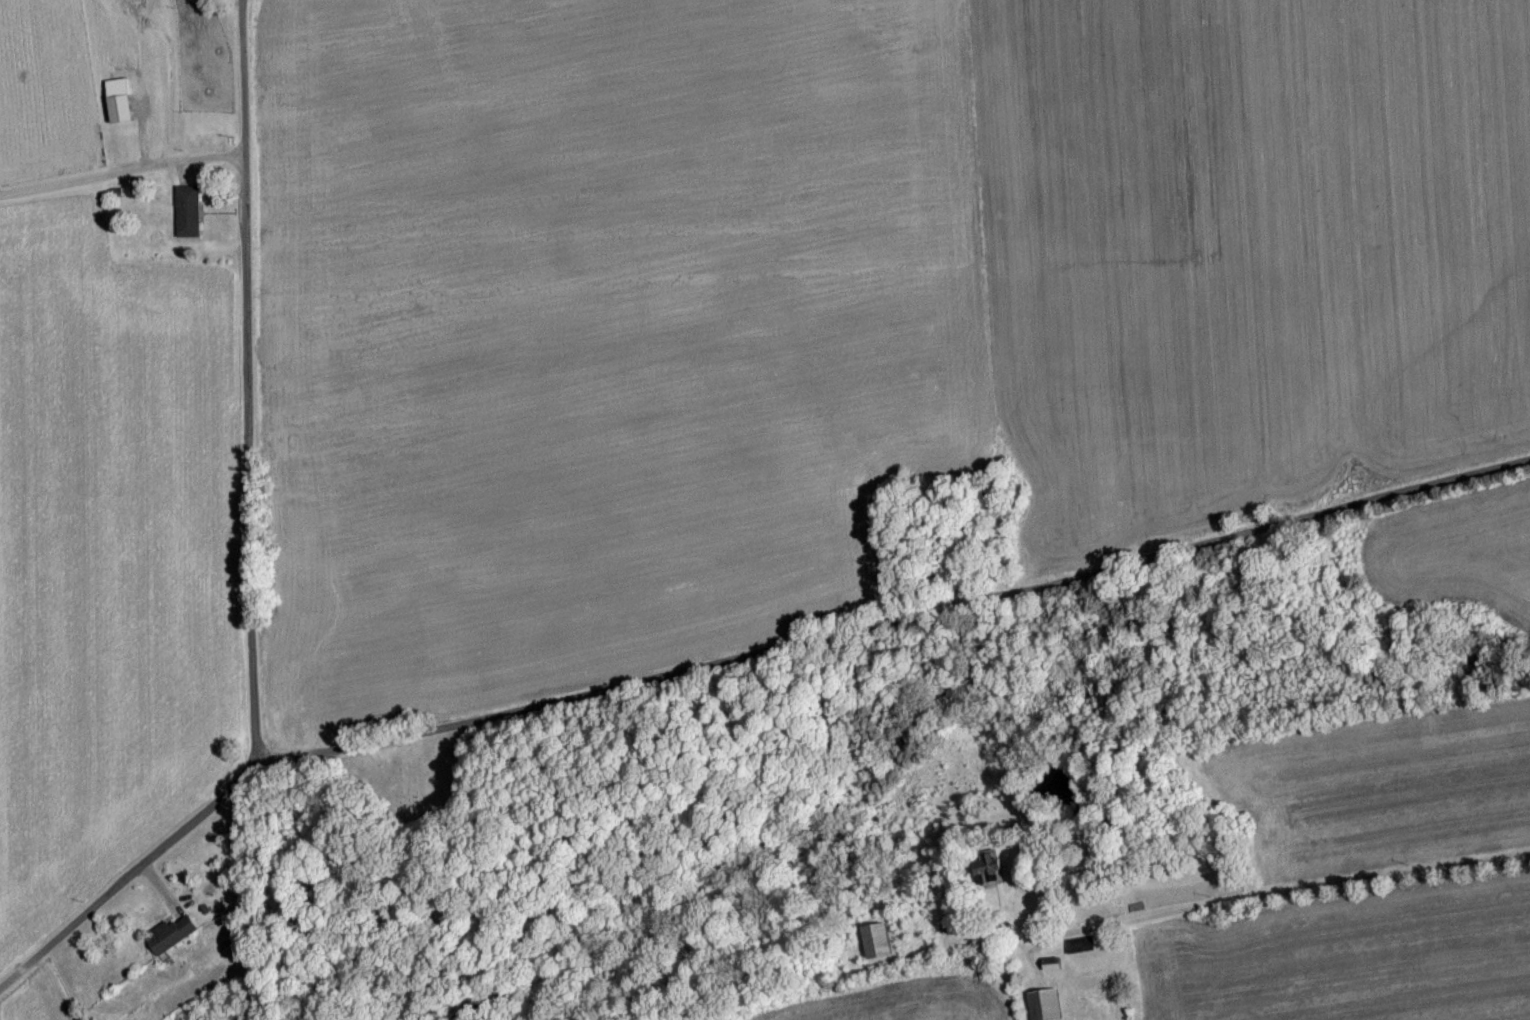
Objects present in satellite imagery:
building: (117, 110)
road: (122, 173)
building: (185, 212)
crop: (446, 375)
road: (246, 551)
road: (893, 631)
road: (1280, 896)
building: (168, 935)
building: (875, 941)
building: (1077, 945)
building: (1042, 1005)

